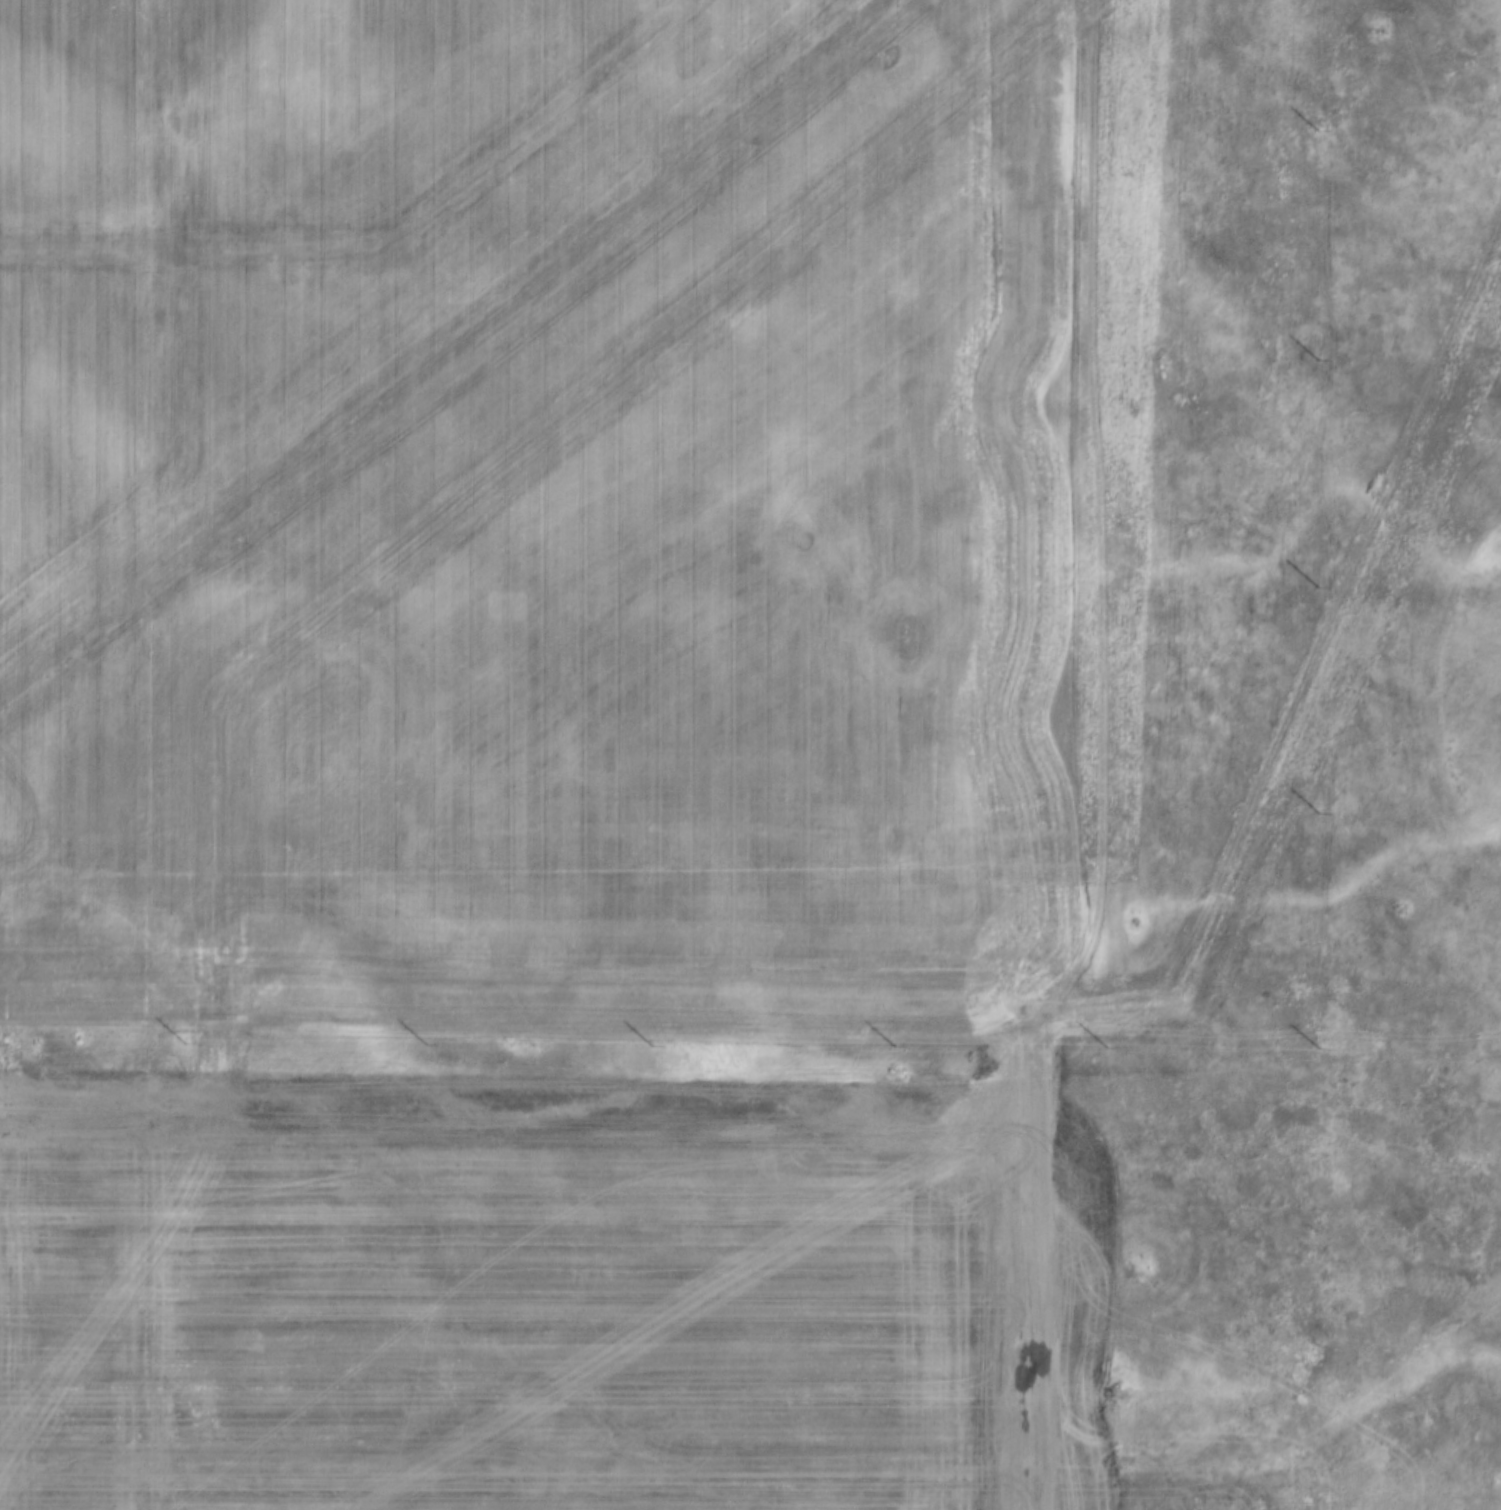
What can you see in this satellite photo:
road: (669, 1031)

